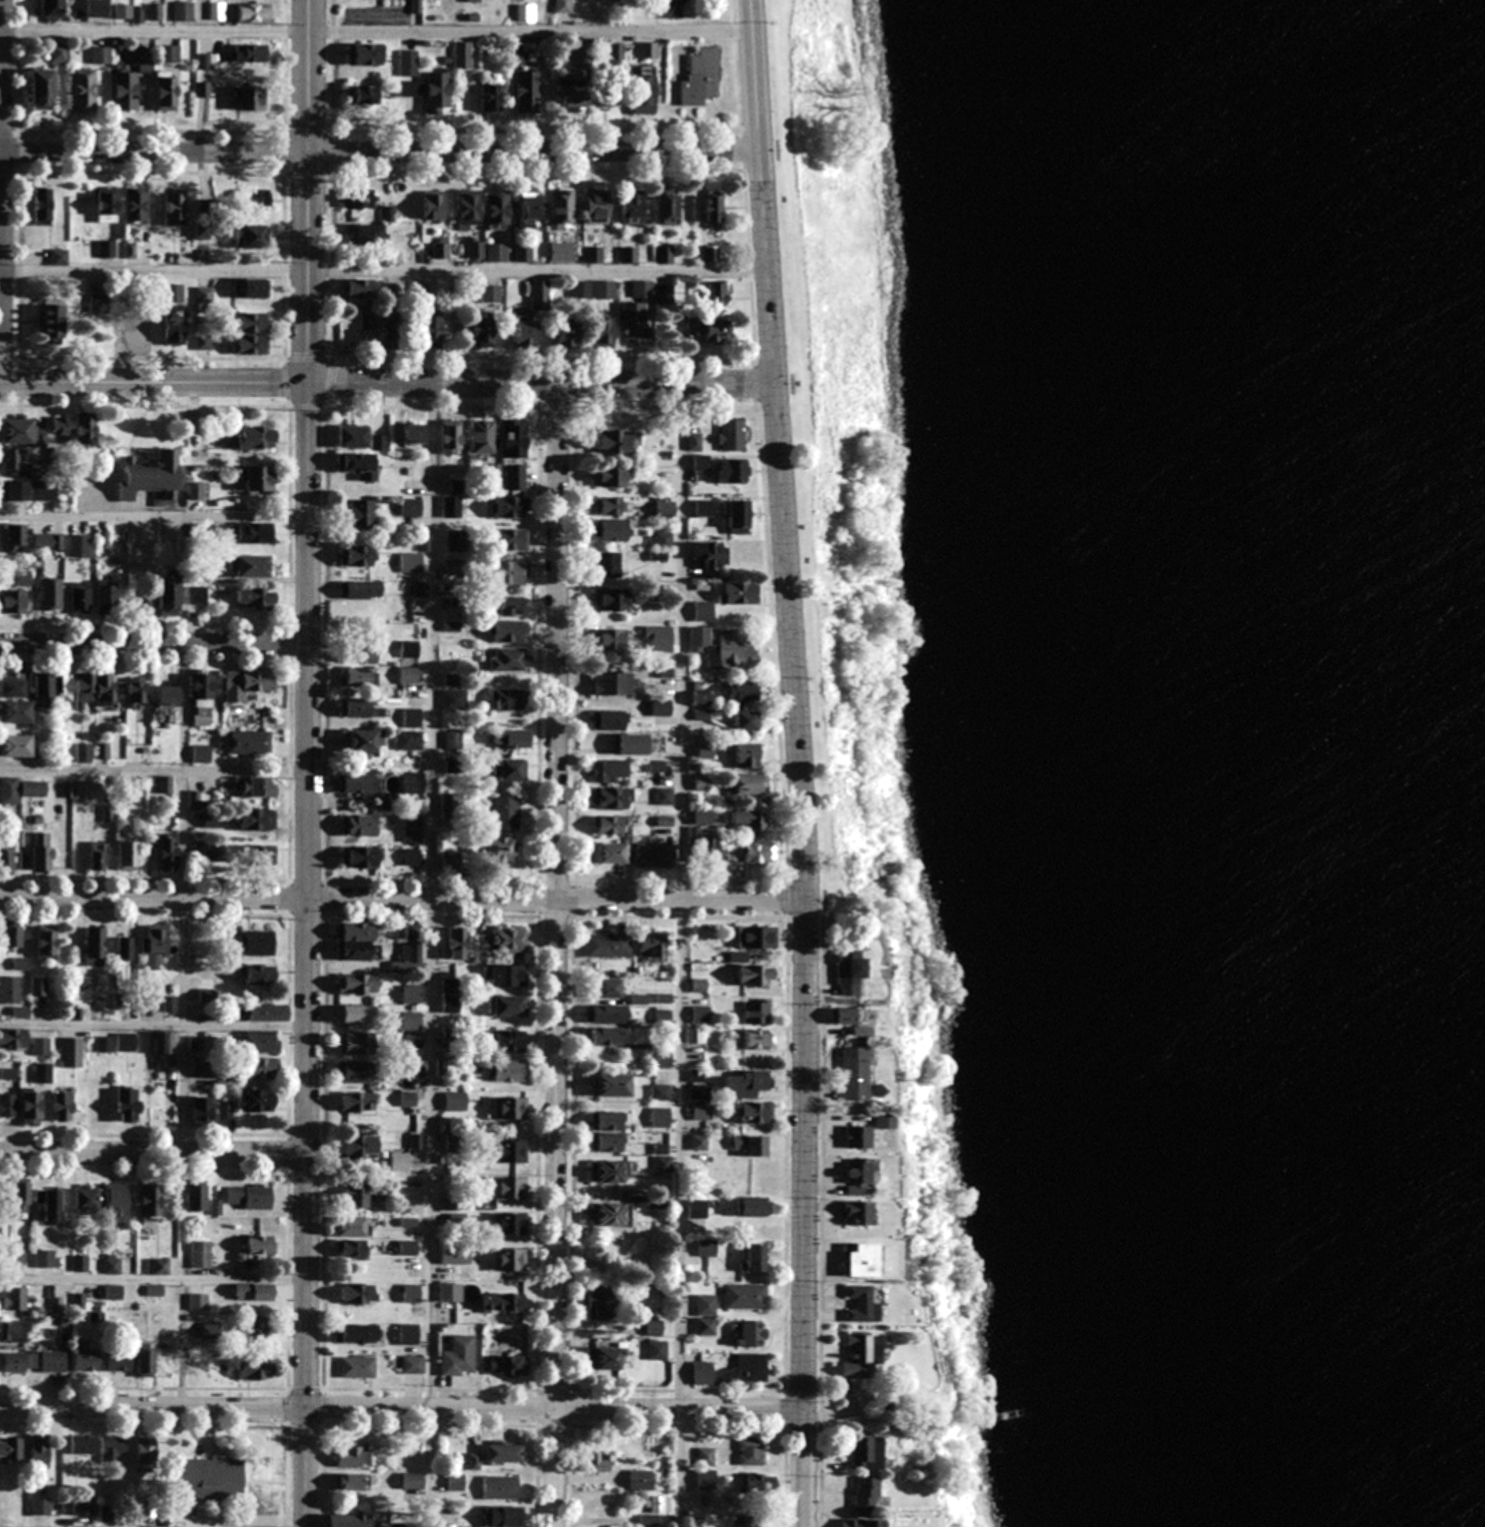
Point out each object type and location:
building: (477, 1)
building: (413, 5)
building: (562, 6)
building: (96, 8)
building: (671, 8)
building: (50, 9)
building: (182, 11)
building: (215, 11)
building: (251, 12)
road: (376, 33)
building: (647, 50)
building: (58, 53)
building: (168, 53)
building: (248, 53)
building: (364, 53)
building: (462, 54)
building: (99, 55)
building: (140, 57)
building: (204, 61)
building: (408, 63)
building: (699, 78)
building: (410, 88)
building: (40, 89)
building: (82, 89)
building: (124, 91)
building: (165, 91)
building: (526, 92)
building: (642, 92)
building: (436, 93)
building: (365, 94)
building: (572, 96)
building: (489, 97)
building: (248, 99)
road: (379, 151)
building: (358, 198)
building: (255, 199)
building: (106, 205)
building: (41, 206)
building: (135, 206)
building: (432, 206)
building: (561, 206)
building: (595, 206)
building: (630, 206)
building: (666, 206)
building: (711, 206)
building: (174, 207)
building: (468, 209)
building: (496, 209)
building: (527, 210)
building: (366, 233)
building: (251, 236)
building: (440, 248)
building: (107, 249)
building: (474, 250)
building: (560, 251)
building: (495, 252)
building: (522, 252)
building: (592, 254)
building: (627, 254)
building: (663, 254)
building: (709, 254)
building: (58, 257)
road: (383, 272)
building: (251, 288)
building: (357, 288)
building: (180, 290)
building: (592, 290)
building: (715, 292)
building: (490, 294)
building: (536, 294)
building: (663, 294)
building: (204, 295)
building: (99, 303)
building: (635, 314)
building: (367, 319)
building: (50, 321)
building: (252, 322)
building: (174, 328)
building: (710, 330)
building: (429, 331)
building: (481, 332)
building: (602, 332)
building: (389, 333)
building: (522, 333)
building: (565, 334)
building: (252, 344)
road: (386, 381)
building: (62, 425)
building: (86, 429)
building: (15, 431)
building: (413, 433)
building: (352, 436)
building: (729, 436)
building: (253, 437)
building: (450, 437)
building: (481, 437)
building: (40, 438)
building: (513, 438)
building: (616, 441)
building: (694, 441)
building: (378, 442)
building: (10, 459)
building: (700, 462)
building: (359, 465)
building: (732, 470)
building: (608, 476)
building: (514, 477)
building: (150, 478)
building: (256, 478)
building: (27, 492)
building: (449, 502)
building: (410, 503)
building: (608, 506)
building: (702, 508)
building: (664, 509)
road: (153, 514)
building: (360, 514)
building: (737, 517)
building: (610, 530)
building: (167, 532)
building: (250, 533)
building: (15, 536)
building: (510, 539)
building: (661, 539)
building: (47, 542)
building: (138, 544)
building: (79, 546)
building: (709, 554)
building: (358, 555)
building: (410, 562)
building: (605, 565)
building: (249, 566)
building: (507, 572)
building: (360, 590)
building: (168, 592)
building: (651, 592)
building: (738, 593)
building: (49, 595)
building: (196, 595)
building: (106, 596)
building: (79, 598)
building: (254, 598)
building: (611, 599)
building: (12, 602)
building: (509, 605)
building: (702, 611)
building: (507, 631)
building: (658, 637)
building: (608, 639)
road: (153, 643)
building: (408, 648)
building: (722, 648)
building: (362, 654)
building: (509, 660)
building: (408, 675)
building: (358, 676)
building: (450, 679)
building: (610, 683)
building: (245, 684)
building: (11, 688)
building: (199, 688)
building: (94, 689)
building: (53, 690)
building: (136, 692)
building: (742, 693)
building: (167, 697)
building: (506, 699)
building: (454, 700)
building: (358, 708)
building: (660, 708)
building: (14, 712)
building: (411, 717)
building: (608, 720)
building: (745, 722)
building: (511, 739)
building: (409, 740)
building: (453, 740)
building: (362, 741)
building: (249, 742)
building: (636, 744)
building: (14, 746)
building: (704, 752)
building: (84, 753)
building: (201, 754)
building: (745, 757)
road: (797, 762)
road: (306, 763)
building: (507, 770)
building: (609, 771)
road: (153, 772)
building: (412, 783)
building: (701, 783)
building: (164, 784)
building: (359, 785)
building: (749, 785)
building: (254, 787)
building: (33, 789)
building: (8, 790)
building: (82, 790)
building: (610, 798)
building: (448, 804)
building: (504, 813)
building: (701, 817)
building: (748, 819)
building: (255, 820)
building: (357, 825)
building: (607, 825)
building: (498, 848)
building: (705, 850)
building: (41, 853)
building: (167, 853)
building: (607, 853)
building: (757, 853)
building: (127, 854)
building: (259, 854)
building: (653, 855)
building: (7, 857)
building: (96, 857)
building: (360, 857)
building: (410, 858)
building: (450, 862)
road: (181, 896)
road: (402, 897)
building: (412, 931)
building: (12, 937)
building: (756, 937)
building: (356, 941)
building: (504, 942)
building: (45, 943)
building: (251, 943)
building: (455, 943)
building: (153, 944)
building: (606, 945)
building: (650, 945)
building: (94, 947)
building: (124, 949)
road: (431, 953)
road: (554, 954)
road: (680, 954)
building: (407, 959)
building: (20, 963)
building: (849, 972)
building: (255, 974)
building: (502, 975)
building: (753, 975)
building: (356, 984)
building: (697, 986)
building: (38, 987)
building: (607, 988)
building: (9, 989)
building: (410, 994)
building: (506, 1005)
building: (756, 1011)
building: (265, 1012)
building: (355, 1013)
building: (605, 1013)
building: (699, 1014)
building: (662, 1016)
building: (843, 1016)
building: (410, 1020)
road: (152, 1023)
building: (607, 1036)
building: (694, 1036)
building: (12, 1038)
building: (757, 1039)
building: (508, 1041)
building: (125, 1042)
building: (164, 1042)
building: (260, 1042)
building: (356, 1043)
building: (104, 1044)
building: (40, 1046)
building: (71, 1052)
building: (662, 1060)
building: (198, 1066)
building: (261, 1068)
building: (507, 1070)
building: (355, 1071)
building: (42, 1072)
building: (8, 1073)
building: (853, 1074)
building: (609, 1085)
building: (699, 1091)
building: (253, 1099)
building: (407, 1099)
building: (454, 1101)
building: (355, 1102)
building: (126, 1103)
building: (8, 1105)
building: (30, 1106)
building: (61, 1106)
building: (509, 1108)
building: (200, 1110)
building: (701, 1110)
building: (755, 1112)
building: (659, 1117)
building: (606, 1131)
building: (866, 1132)
building: (415, 1141)
building: (698, 1142)
building: (749, 1145)
building: (357, 1146)
road: (152, 1151)
building: (509, 1151)
building: (399, 1161)
building: (607, 1171)
building: (857, 1175)
building: (509, 1188)
building: (195, 1196)
building: (20, 1197)
building: (248, 1197)
building: (355, 1197)
building: (84, 1198)
building: (114, 1202)
building: (149, 1202)
building: (451, 1203)
building: (48, 1204)
building: (752, 1207)
building: (696, 1208)
building: (857, 1213)
building: (609, 1215)
building: (508, 1224)
building: (352, 1226)
building: (260, 1245)
building: (406, 1247)
building: (350, 1248)
building: (706, 1248)
building: (18, 1254)
building: (200, 1254)
building: (455, 1255)
building: (753, 1257)
building: (43, 1259)
building: (507, 1259)
building: (859, 1259)
building: (157, 1266)
road: (152, 1277)
building: (404, 1289)
building: (112, 1292)
building: (252, 1292)
building: (449, 1293)
building: (357, 1294)
building: (745, 1296)
building: (13, 1299)
building: (197, 1302)
building: (502, 1302)
building: (862, 1304)
building: (598, 1306)
building: (705, 1314)
building: (255, 1329)
building: (209, 1330)
building: (13, 1331)
building: (356, 1333)
building: (748, 1333)
building: (407, 1334)
building: (656, 1350)
building: (862, 1356)
building: (457, 1357)
building: (605, 1358)
building: (86, 1360)
building: (18, 1363)
building: (52, 1363)
building: (118, 1363)
building: (144, 1363)
building: (412, 1365)
building: (508, 1366)
building: (356, 1367)
building: (253, 1369)
building: (746, 1369)
building: (702, 1373)
road: (401, 1407)
building: (81, 1444)
building: (9, 1449)
building: (112, 1449)
building: (38, 1451)
building: (751, 1451)
building: (502, 1453)
building: (865, 1453)
building: (143, 1454)
building: (352, 1456)
building: (705, 1457)
building: (595, 1461)
building: (210, 1479)
building: (705, 1479)
building: (640, 1480)
building: (350, 1481)
building: (411, 1481)
building: (455, 1482)
building: (758, 1483)
building: (499, 1488)
building: (865, 1495)
building: (657, 1504)
building: (40, 1506)
building: (82, 1507)
building: (106, 1513)
building: (501, 1517)
building: (346, 1520)
building: (744, 1522)
building: (862, 1522)

